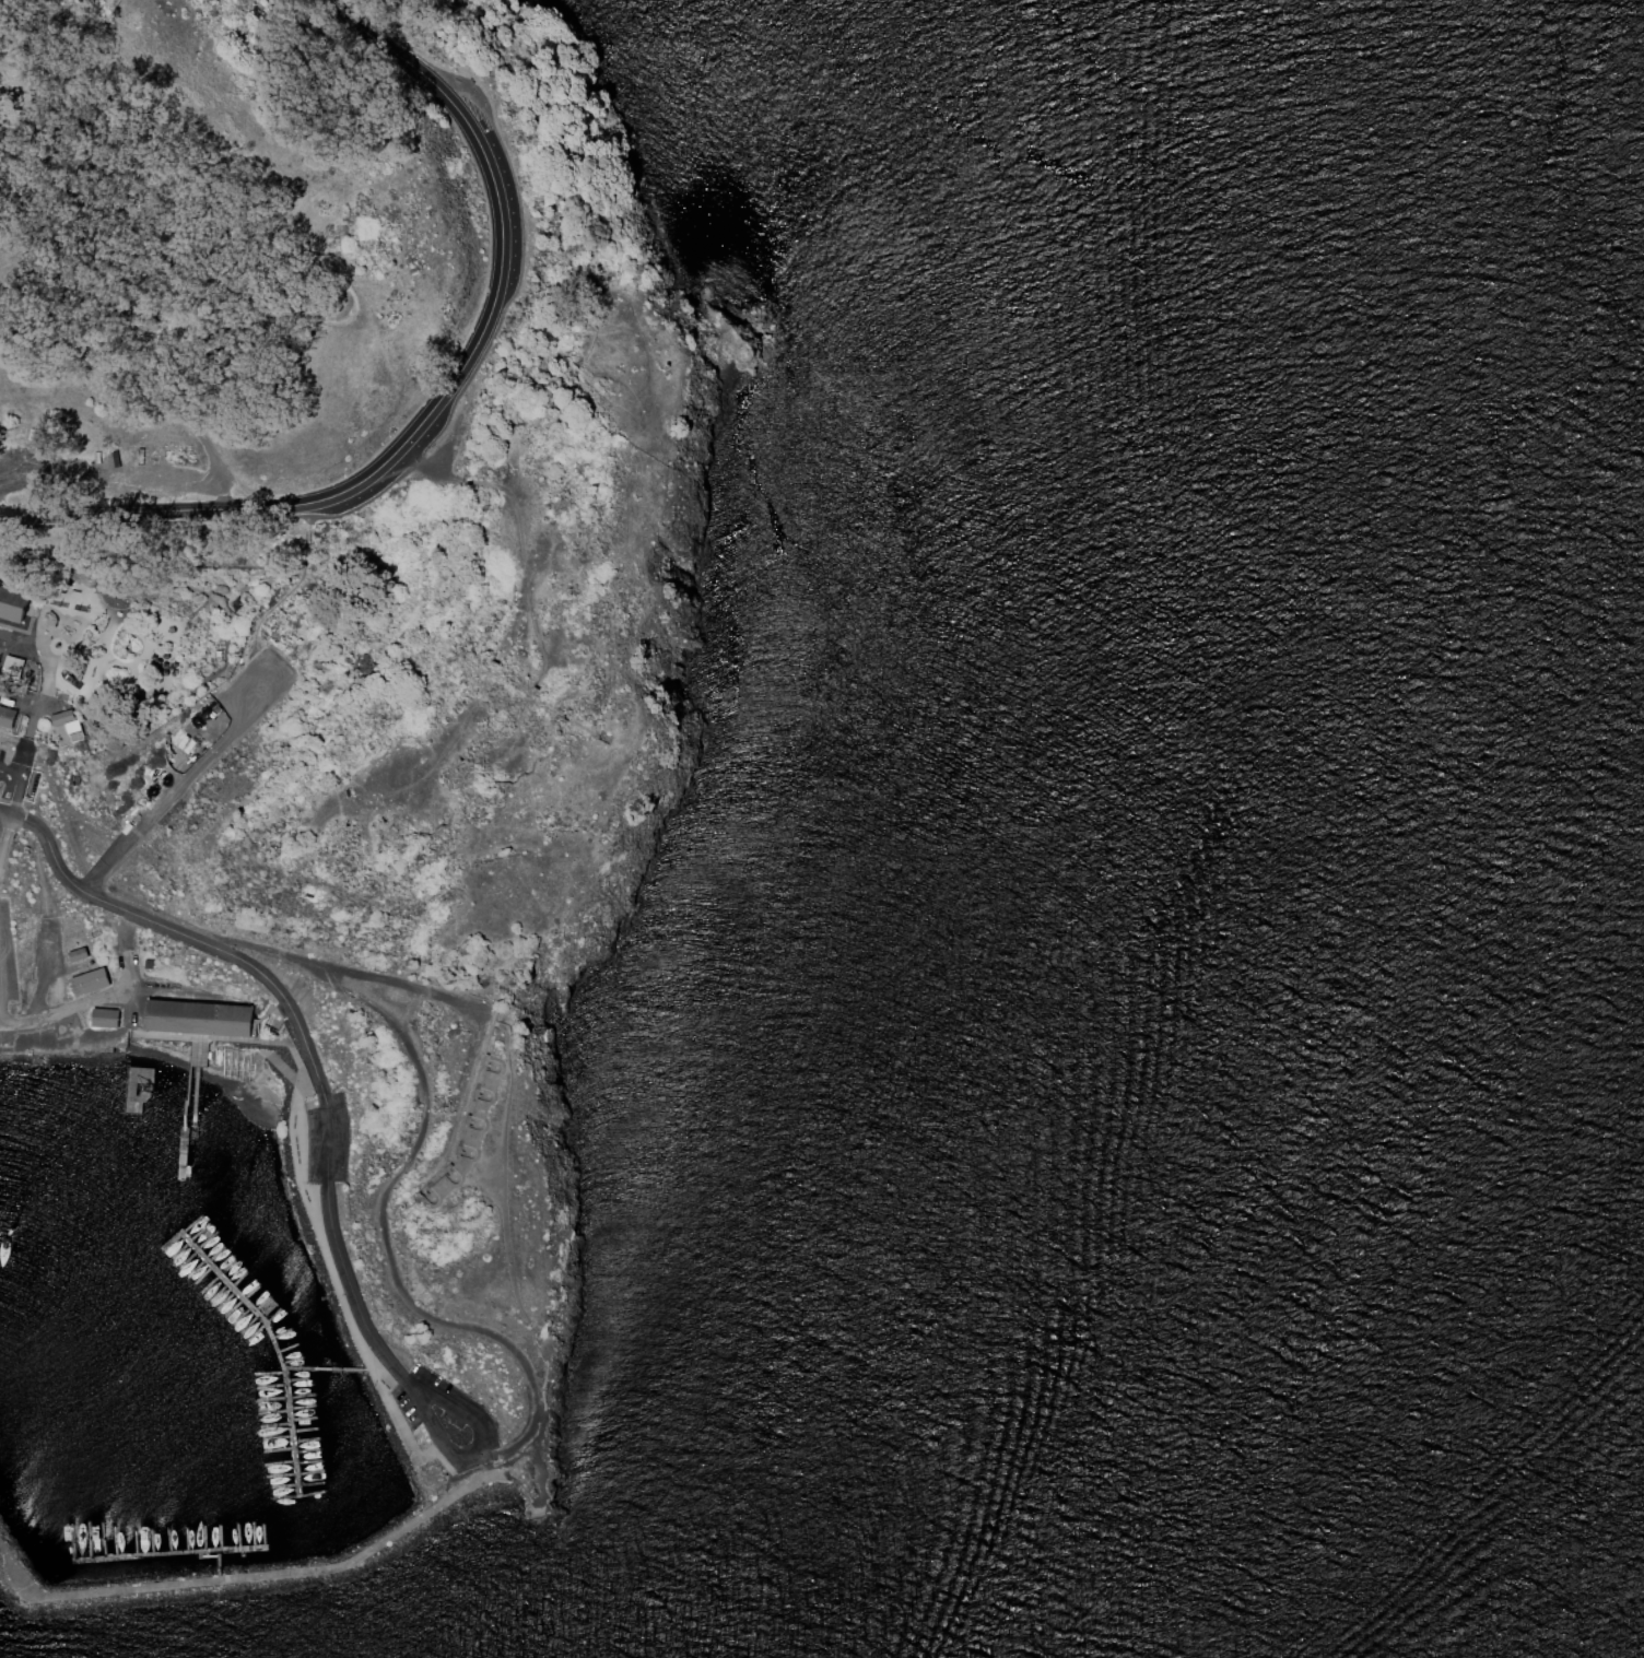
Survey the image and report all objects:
road: (399, 59)
road: (497, 199)
road: (208, 309)
road: (307, 504)
road: (310, 517)
road: (307, 543)
building: (13, 604)
road: (255, 639)
building: (11, 668)
building: (61, 718)
building: (7, 719)
parking lot: (2, 759)
road: (16, 786)
road: (155, 813)
road: (4, 814)
road: (4, 831)
parking lot: (46, 951)
building: (75, 954)
parking lot: (5, 956)
building: (145, 964)
road: (125, 969)
road: (46, 973)
building: (87, 981)
road: (387, 983)
road: (103, 995)
road: (131, 1011)
road: (278, 1012)
road: (271, 1015)
parking lot: (272, 1016)
building: (103, 1018)
building: (196, 1018)
road: (261, 1018)
road: (486, 1018)
parking lot: (5, 1031)
road: (255, 1032)
road: (302, 1033)
road: (223, 1039)
pier: (196, 1060)
railway: (196, 1068)
road: (286, 1071)
pier: (137, 1087)
pier: (186, 1090)
road: (314, 1098)
road: (463, 1114)
road: (184, 1121)
railway: (192, 1128)
parking lot: (324, 1138)
road: (302, 1142)
building: (461, 1142)
pier: (181, 1152)
road: (399, 1171)
road: (503, 1195)
road: (543, 1197)
road: (312, 1206)
pier: (180, 1232)
pier: (238, 1295)
road: (340, 1302)
road: (541, 1355)
pier: (296, 1368)
road: (320, 1368)
pier: (347, 1369)
road: (541, 1396)
parking lot: (444, 1423)
pier: (289, 1432)
road: (436, 1448)
road: (517, 1453)
road: (471, 1456)
road: (540, 1490)
pier: (296, 1496)
pier: (162, 1553)
pier: (198, 1554)
road: (207, 1555)
pier: (216, 1567)
road: (250, 1576)

